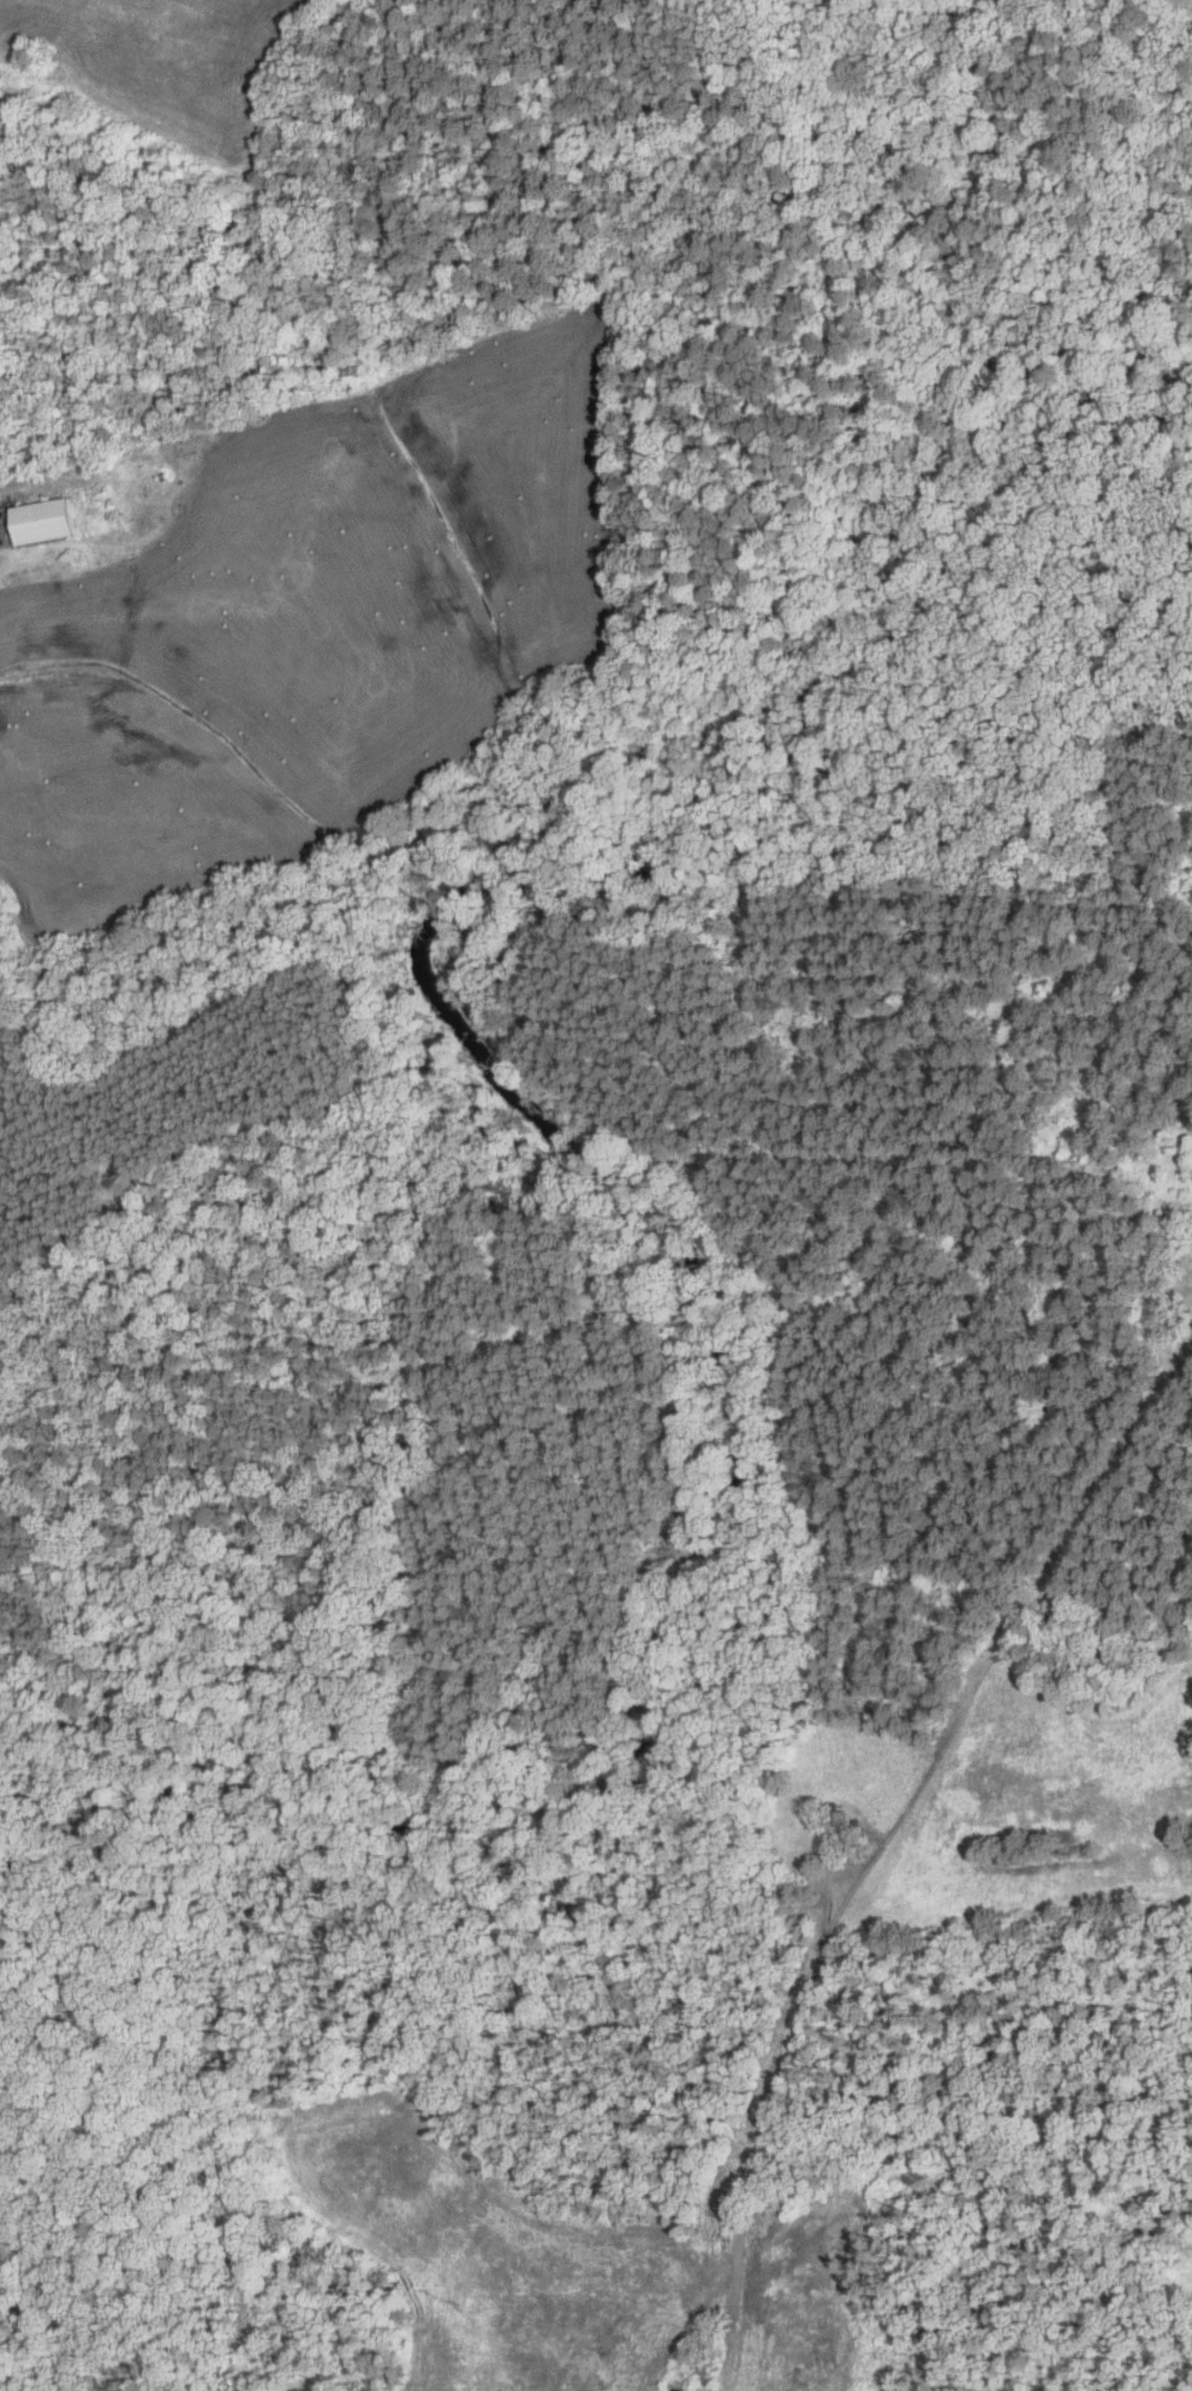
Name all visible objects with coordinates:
building: (36, 523)
road: (893, 1850)

